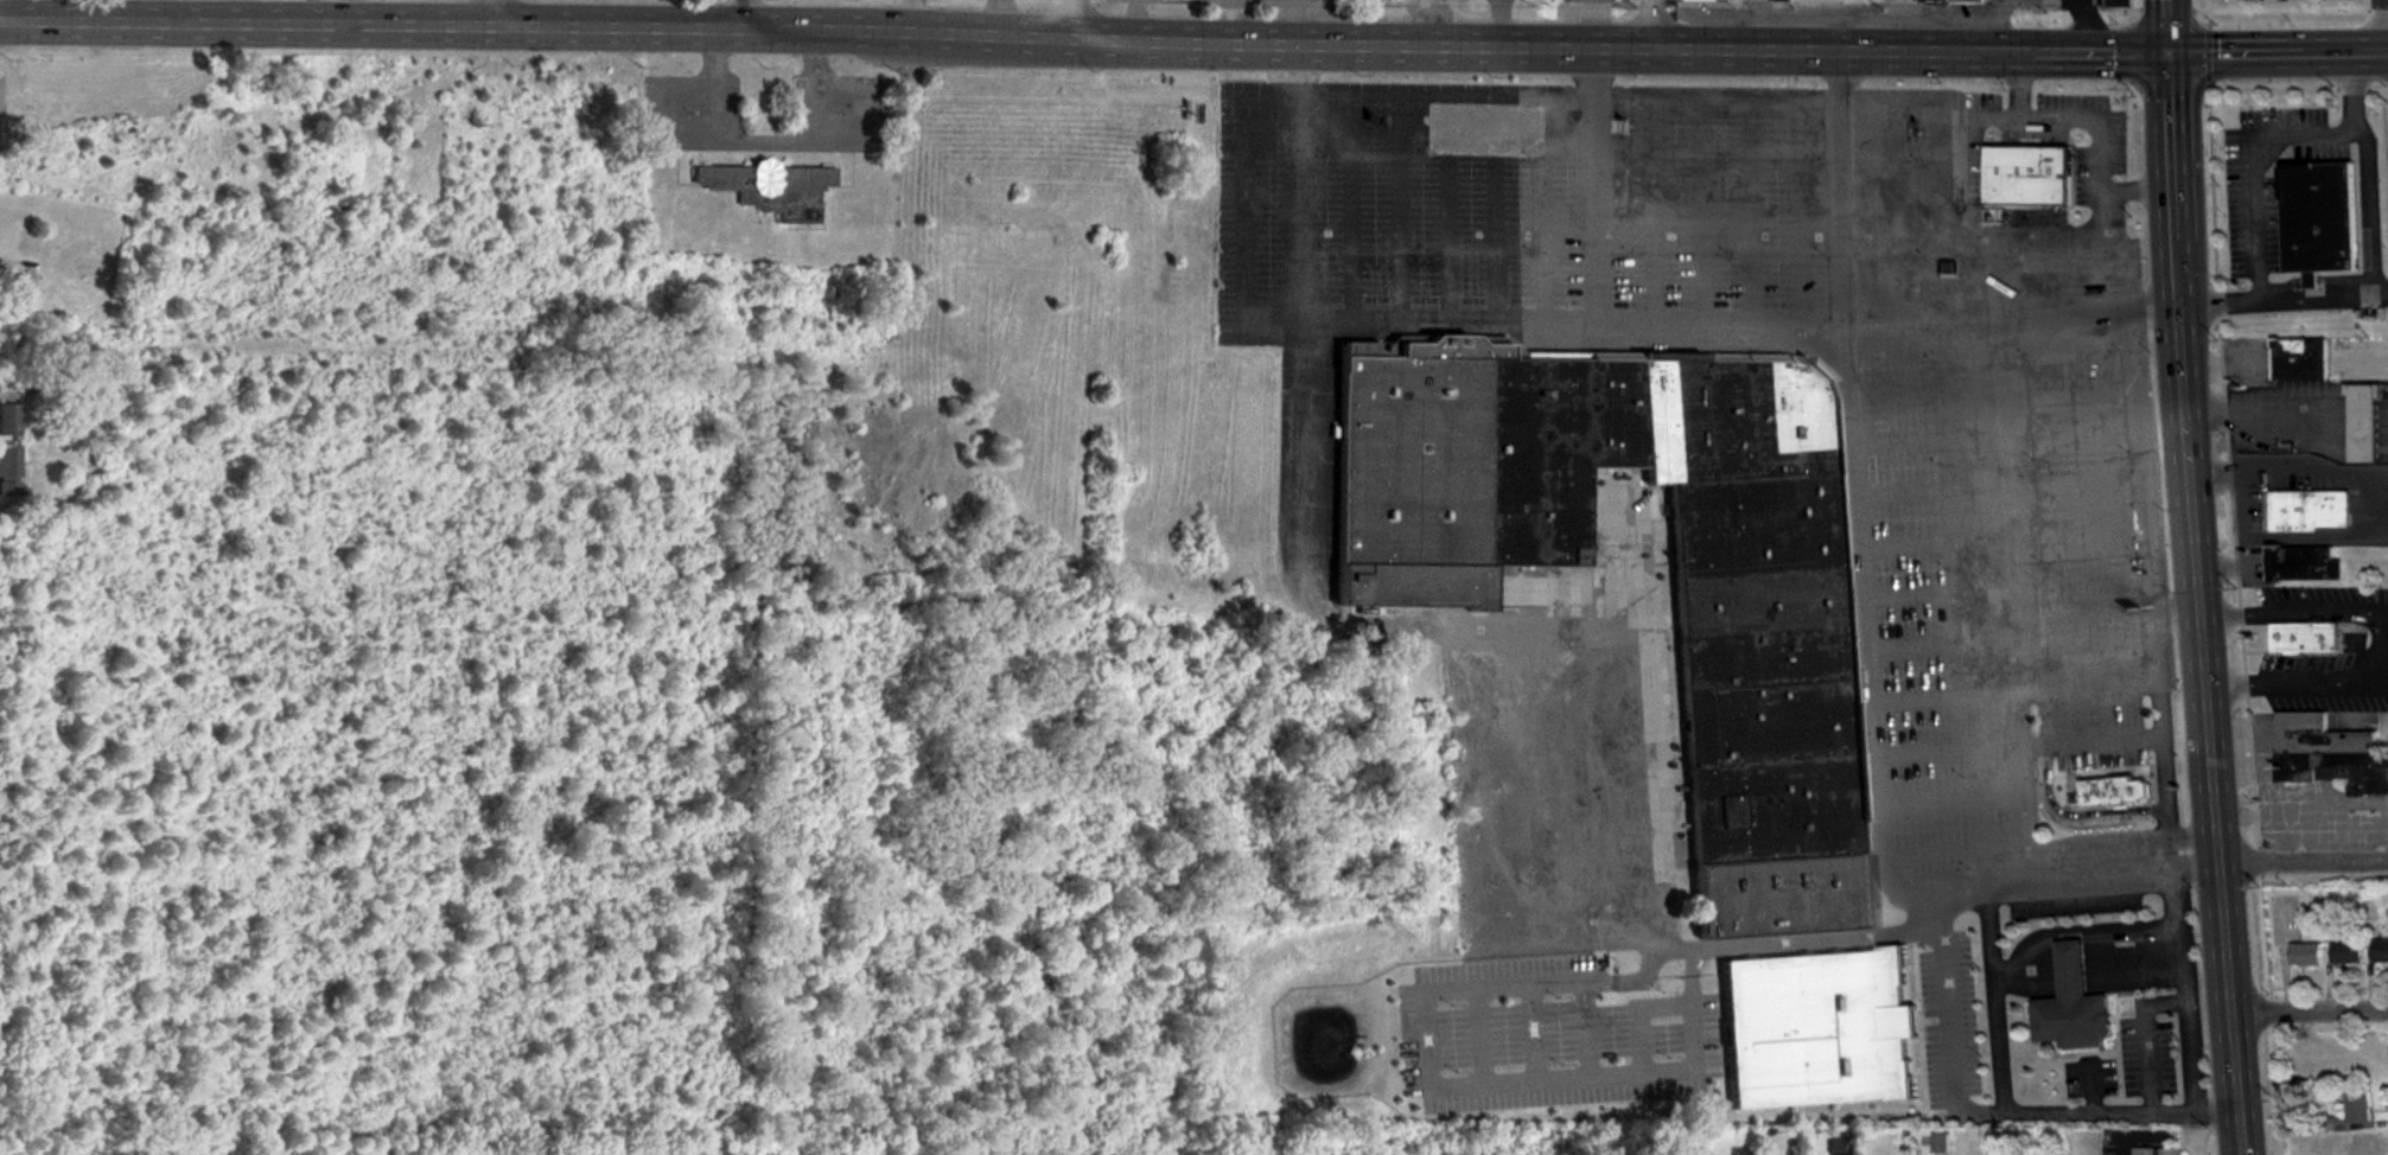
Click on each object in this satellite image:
building: (1705, 0)
building: (1785, 0)
building: (1950, 1)
road: (497, 13)
road: (743, 18)
road: (1083, 25)
road: (1660, 26)
road: (2381, 26)
road: (2172, 27)
road: (917, 43)
road: (2280, 53)
road: (2005, 55)
traffic signals: (2173, 55)
road: (763, 138)
building: (2026, 177)
road: (2369, 178)
road: (2174, 180)
road: (1298, 187)
building: (770, 189)
road: (1599, 190)
road: (1838, 192)
road: (2258, 208)
building: (2319, 217)
building: (24, 287)
road: (2319, 298)
road: (2012, 318)
road: (1545, 326)
building: (2299, 359)
building: (12, 420)
building: (2363, 423)
building: (11, 472)
building: (2310, 510)
road: (2367, 511)
building: (2304, 563)
road: (2198, 582)
road: (1862, 594)
road: (2033, 623)
building: (2305, 638)
road: (2383, 639)
building: (2327, 754)
building: (1766, 770)
building: (2114, 792)
road: (2304, 860)
road: (2046, 873)
road: (1764, 943)
building: (2381, 950)
building: (2348, 952)
building: (2307, 955)
road: (1998, 993)
building: (2071, 1006)
road: (2230, 1007)
road: (2310, 1012)
building: (1815, 1028)
building: (2350, 1067)
building: (2318, 1074)
building: (2358, 1108)
road: (2083, 1109)
building: (2360, 1143)
building: (2158, 1150)
building: (1740, 1151)

